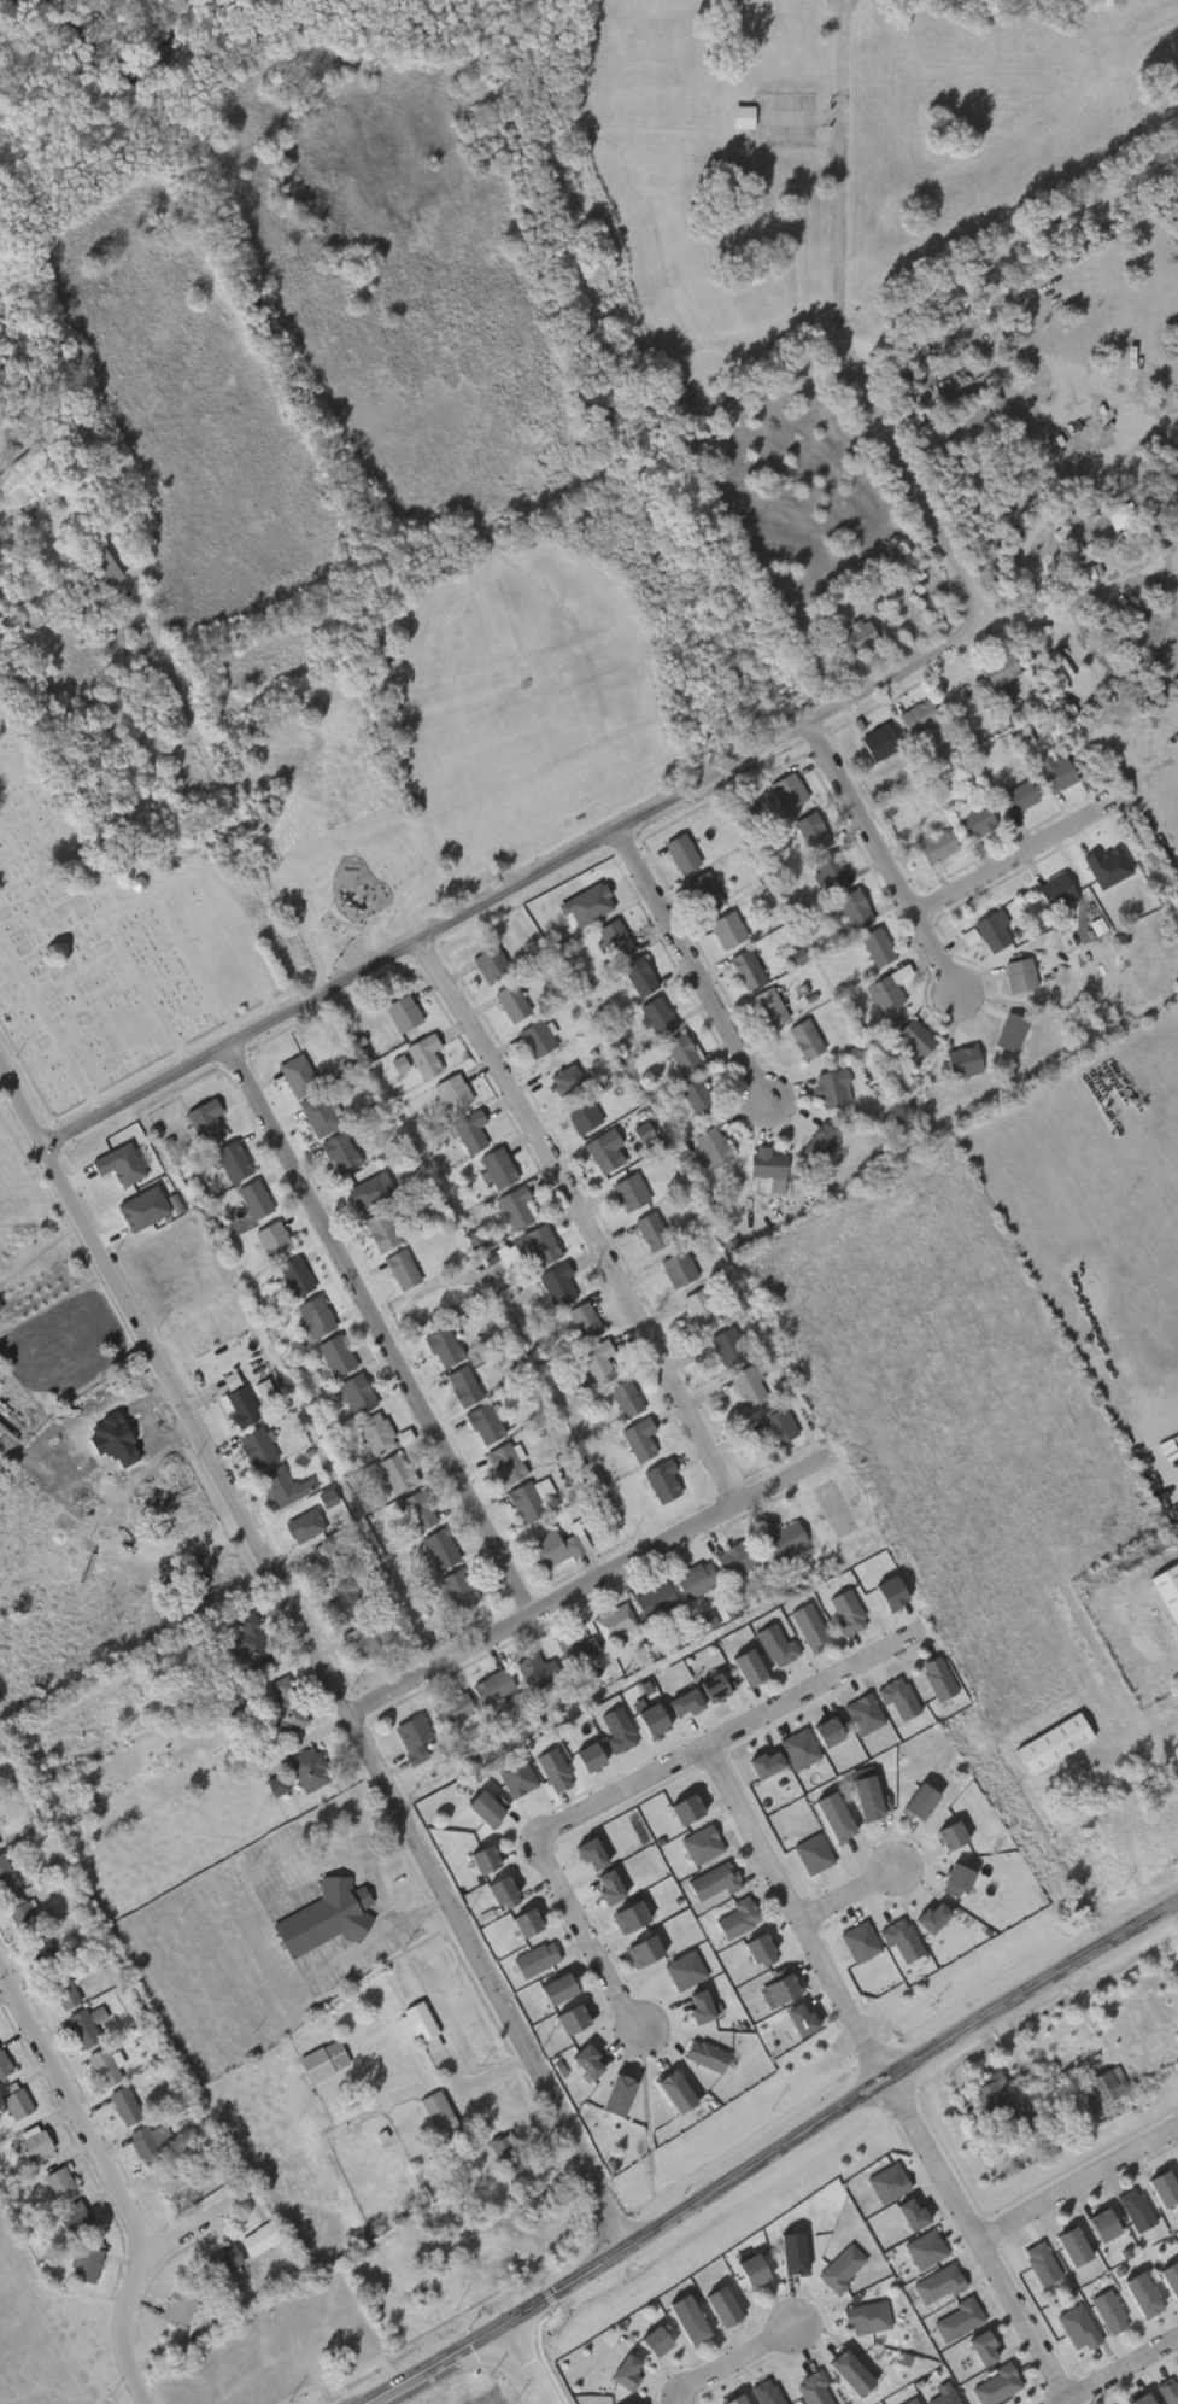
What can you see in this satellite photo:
building: (742, 116)
road: (845, 183)
building: (29, 475)
road: (1062, 504)
building: (1071, 543)
building: (99, 566)
road: (1100, 599)
road: (985, 624)
building: (857, 634)
building: (997, 669)
building: (916, 715)
road: (193, 723)
road: (805, 726)
building: (877, 739)
building: (1024, 739)
building: (1055, 774)
building: (786, 790)
building: (1016, 796)
building: (974, 820)
building: (809, 831)
building: (934, 846)
building: (679, 852)
road: (885, 859)
road: (1012, 861)
building: (1103, 861)
building: (830, 871)
building: (1054, 889)
building: (702, 891)
building: (592, 899)
building: (851, 908)
building: (725, 929)
building: (989, 931)
building: (613, 937)
building: (969, 937)
building: (874, 946)
building: (488, 963)
road: (693, 967)
building: (744, 969)
building: (1018, 973)
building: (637, 975)
building: (884, 988)
building: (509, 1001)
building: (766, 1007)
building: (400, 1011)
building: (655, 1014)
building: (1008, 1031)
building: (913, 1036)
building: (534, 1037)
building: (802, 1037)
building: (679, 1052)
building: (423, 1053)
building: (960, 1060)
building: (295, 1075)
building: (555, 1076)
building: (827, 1088)
building: (450, 1090)
building: (695, 1096)
building: (579, 1112)
building: (316, 1113)
building: (203, 1118)
building: (468, 1128)
building: (644, 1133)
building: (817, 1141)
building: (709, 1145)
building: (599, 1151)
building: (338, 1152)
building: (232, 1159)
building: (121, 1165)
building: (494, 1165)
building: (763, 1165)
building: (627, 1189)
building: (358, 1191)
building: (253, 1198)
building: (512, 1205)
building: (143, 1210)
road: (587, 1217)
building: (379, 1229)
building: (649, 1229)
building: (270, 1238)
building: (539, 1242)
building: (675, 1267)
building: (399, 1268)
building: (294, 1276)
building: (556, 1283)
building: (697, 1308)
building: (311, 1315)
building: (580, 1320)
road: (385, 1328)
building: (725, 1344)
building: (440, 1346)
building: (334, 1353)
building: (594, 1361)
building: (461, 1385)
building: (745, 1385)
building: (354, 1393)
building: (623, 1397)
building: (236, 1400)
building: (481, 1423)
building: (775, 1423)
building: (374, 1433)
building: (531, 1437)
building: (635, 1438)
building: (254, 1446)
building: (503, 1462)
building: (394, 1472)
building: (658, 1479)
building: (279, 1486)
building: (523, 1502)
building: (415, 1509)
building: (305, 1527)
building: (779, 1537)
building: (1150, 1545)
building: (552, 1546)
building: (438, 1548)
building: (1177, 1548)
building: (734, 1557)
building: (323, 1562)
building: (692, 1579)
road: (590, 1585)
building: (456, 1587)
building: (885, 1591)
building: (1166, 1592)
building: (650, 1598)
building: (342, 1602)
building: (843, 1610)
building: (613, 1621)
building: (708, 1622)
building: (807, 1626)
building: (250, 1640)
building: (359, 1640)
building: (575, 1646)
building: (778, 1646)
road: (311, 1651)
building: (744, 1666)
building: (534, 1668)
building: (934, 1677)
building: (488, 1686)
building: (717, 1688)
building: (898, 1698)
building: (686, 1703)
building: (285, 1704)
building: (452, 1708)
building: (865, 1715)
building: (647, 1719)
building: (619, 1732)
building: (831, 1732)
building: (412, 1737)
building: (1049, 1743)
building: (799, 1750)
building: (585, 1756)
building: (766, 1765)
building: (307, 1768)
building: (552, 1768)
building: (517, 1777)
road: (637, 1780)
building: (277, 1786)
building: (861, 1797)
building: (913, 1801)
building: (480, 1806)
building: (682, 1808)
building: (82, 1811)
building: (828, 1815)
building: (945, 1835)
building: (702, 1846)
building: (591, 1854)
building: (813, 1855)
building: (479, 1856)
building: (5, 1874)
building: (710, 1880)
building: (957, 1882)
building: (610, 1888)
road: (849, 1891)
building: (504, 1894)
building: (22, 1912)
road: (797, 1912)
building: (626, 1913)
building: (324, 1915)
building: (734, 1915)
building: (522, 1919)
building: (932, 1919)
building: (902, 1940)
building: (860, 1943)
building: (39, 1947)
building: (641, 1948)
building: (761, 1952)
building: (533, 1958)
building: (1176, 1965)
building: (685, 1971)
building: (552, 1985)
building: (778, 1985)
building: (61, 1987)
building: (701, 2008)
building: (569, 2016)
building: (802, 2020)
building: (417, 2024)
building: (81, 2026)
building: (703, 2053)
building: (322, 2060)
building: (588, 2061)
building: (4, 2063)
building: (101, 2065)
building: (1027, 2076)
building: (1097, 2086)
building: (670, 2087)
building: (614, 2093)
building: (991, 2095)
building: (16, 2101)
building: (123, 2102)
building: (436, 2110)
building: (31, 2142)
building: (143, 2143)
building: (506, 2151)
road: (767, 2156)
road: (1077, 2175)
building: (55, 2180)
road: (107, 2180)
building: (174, 2183)
building: (889, 2184)
building: (1159, 2184)
building: (1133, 2207)
building: (913, 2216)
building: (74, 2218)
building: (1097, 2223)
road: (193, 2225)
building: (257, 2238)
road: (977, 2239)
building: (1069, 2245)
building: (791, 2251)
building: (926, 2251)
building: (223, 2259)
building: (86, 2262)
building: (1041, 2262)
building: (749, 2269)
building: (842, 2269)
building: (1168, 2276)
building: (939, 2285)
building: (1138, 2292)
building: (720, 2304)
building: (177, 2305)
building: (1109, 2310)
building: (686, 2317)
building: (867, 2318)
building: (960, 2320)
building: (1079, 2328)
building: (651, 2339)
building: (984, 2347)
road: (727, 2357)
road: (518, 2364)
road: (1117, 2367)
building: (848, 2371)
building: (627, 2374)
building: (997, 2386)
building: (814, 2390)
building: (1168, 2391)
building: (766, 2392)
building: (732, 2398)
building: (945, 2398)
building: (1138, 2398)
building: (913, 2402)
building: (629, 2403)

